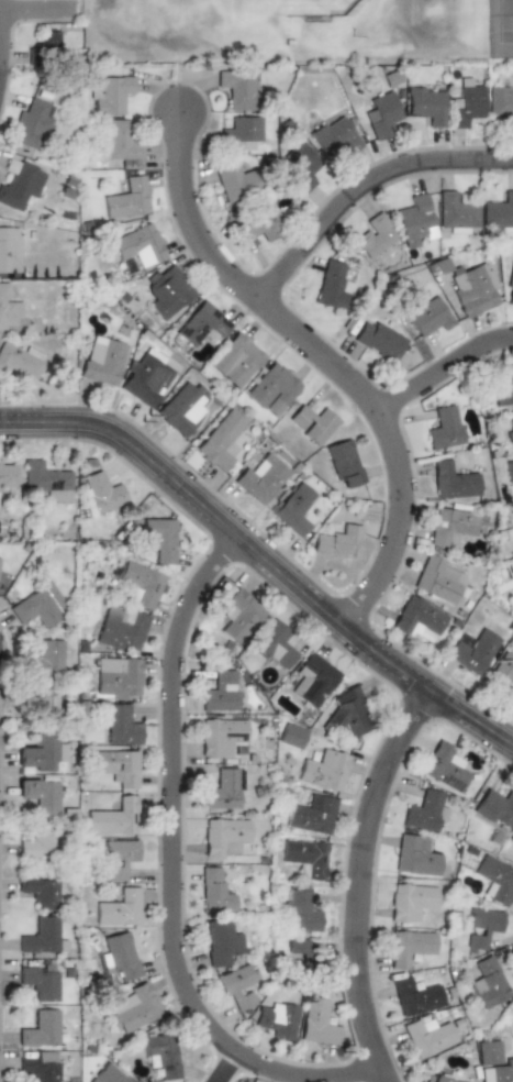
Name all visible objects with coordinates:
road: (36, 8)
park: (500, 29)
building: (48, 42)
building: (238, 89)
building: (107, 93)
building: (501, 102)
building: (425, 103)
building: (466, 104)
building: (380, 114)
building: (30, 124)
building: (238, 132)
building: (333, 135)
building: (119, 142)
building: (299, 166)
building: (234, 180)
building: (20, 183)
road: (364, 187)
building: (126, 198)
building: (454, 213)
building: (498, 214)
building: (413, 219)
building: (257, 224)
building: (373, 235)
building: (138, 246)
building: (9, 250)
building: (330, 284)
building: (472, 288)
building: (509, 289)
building: (166, 290)
building: (8, 308)
building: (427, 316)
building: (201, 324)
building: (380, 341)
road: (324, 358)
building: (20, 361)
building: (102, 361)
building: (235, 361)
road: (443, 373)
building: (148, 378)
building: (272, 387)
building: (502, 388)
building: (182, 408)
building: (313, 423)
building: (509, 426)
building: (444, 427)
building: (220, 441)
building: (344, 464)
building: (509, 472)
building: (4, 475)
building: (260, 479)
building: (453, 479)
building: (47, 481)
building: (101, 492)
building: (295, 509)
building: (512, 526)
building: (450, 527)
building: (159, 539)
building: (338, 541)
road: (263, 562)
building: (438, 578)
building: (138, 584)
building: (35, 607)
building: (238, 615)
building: (416, 619)
building: (121, 628)
building: (276, 647)
building: (472, 651)
building: (45, 658)
building: (504, 667)
building: (116, 677)
building: (312, 680)
building: (219, 692)
building: (38, 706)
building: (348, 713)
building: (118, 725)
building: (220, 736)
building: (290, 736)
building: (38, 753)
building: (115, 766)
building: (444, 768)
building: (323, 770)
building: (224, 790)
building: (37, 793)
building: (495, 808)
building: (424, 811)
building: (310, 815)
building: (111, 817)
road: (180, 825)
building: (222, 837)
building: (511, 838)
building: (34, 840)
building: (415, 855)
building: (304, 857)
building: (116, 858)
building: (494, 880)
road: (371, 886)
building: (37, 891)
building: (213, 891)
building: (410, 902)
building: (116, 907)
building: (300, 910)
building: (481, 927)
building: (41, 937)
building: (219, 942)
building: (409, 947)
building: (118, 956)
building: (298, 957)
building: (37, 982)
building: (486, 982)
building: (234, 987)
building: (415, 996)
building: (131, 1008)
building: (277, 1018)
building: (316, 1022)
building: (38, 1028)
building: (426, 1036)
building: (158, 1055)
building: (492, 1062)
building: (37, 1066)
building: (105, 1074)
road: (241, 1074)
building: (444, 1075)

